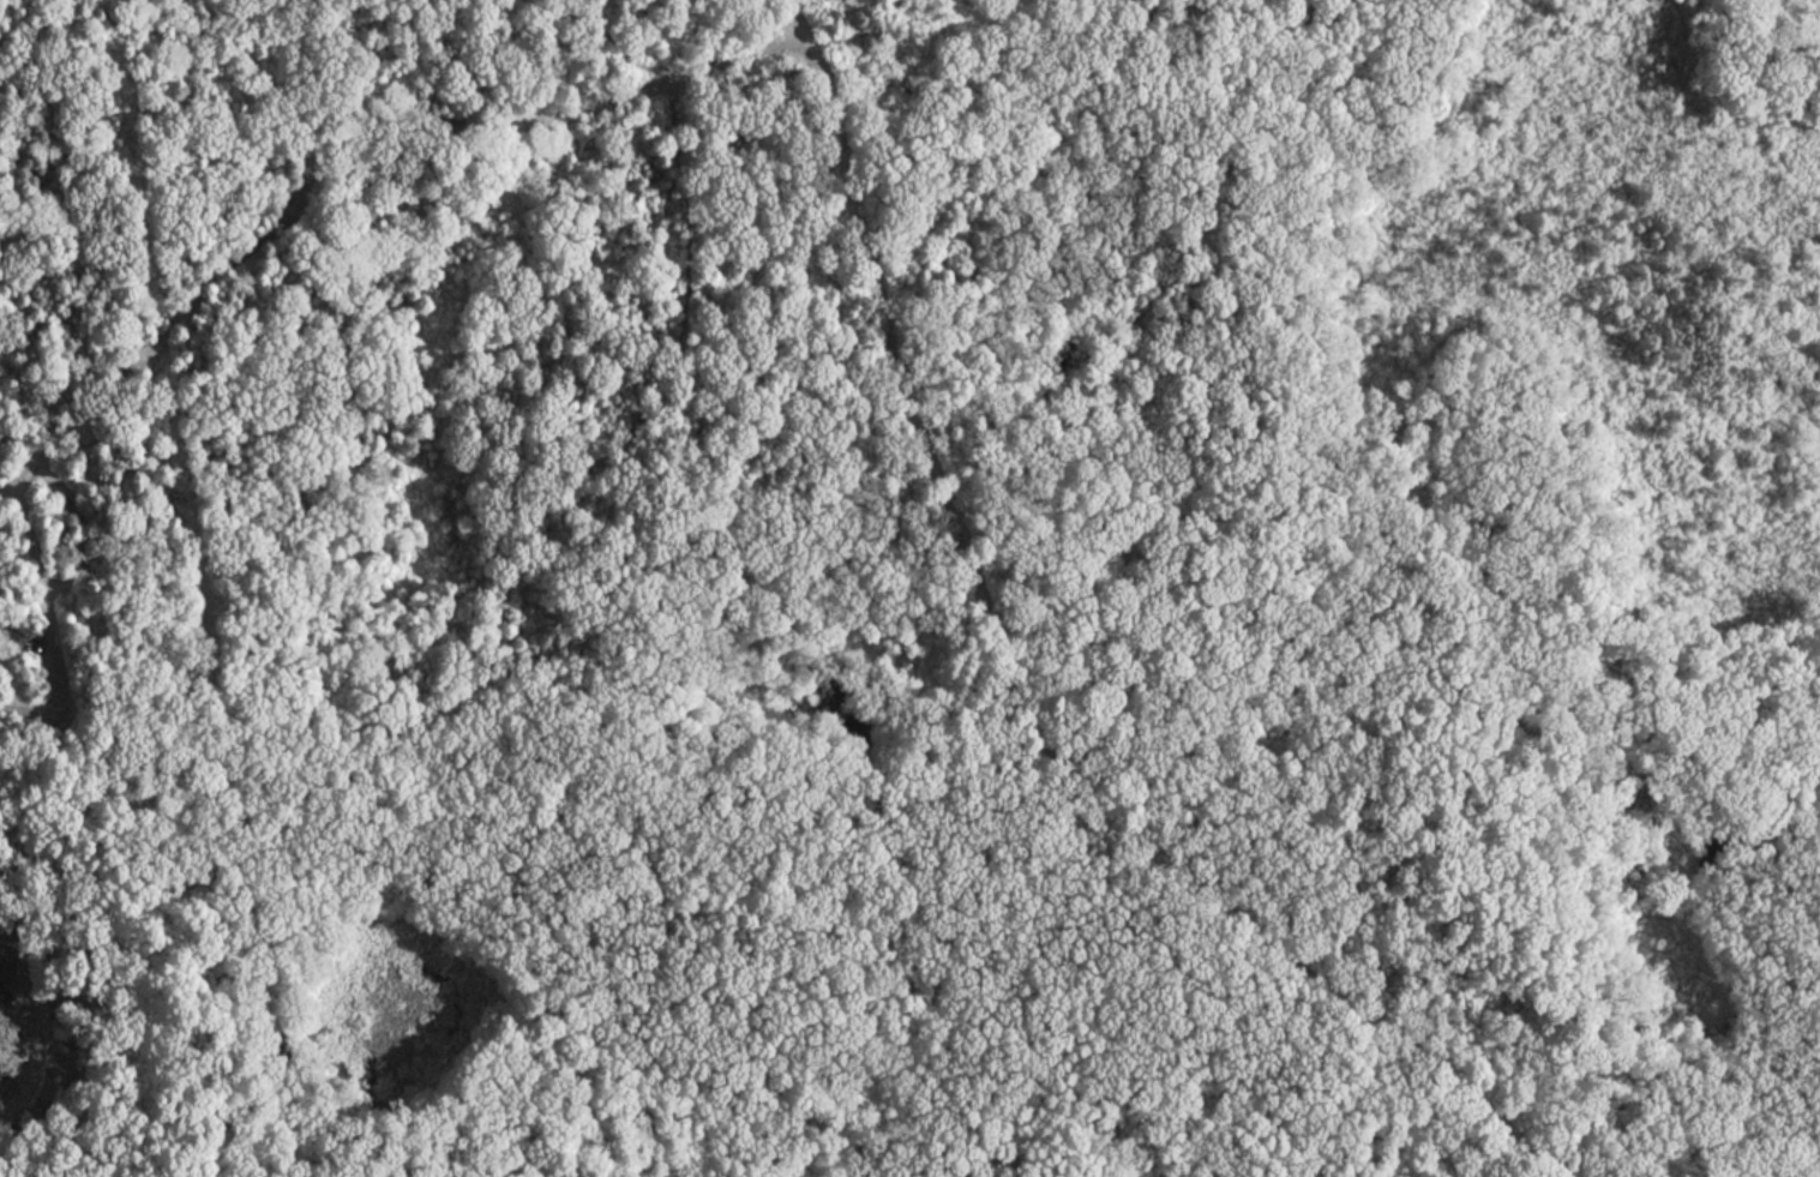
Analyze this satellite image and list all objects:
road: (798, 17)
road: (853, 28)
road: (138, 29)
road: (1272, 90)
road: (336, 124)
road: (1232, 366)
park: (918, 584)
road: (48, 613)
road: (1022, 707)
road: (77, 714)
road: (879, 867)
road: (194, 937)
road: (1443, 1086)
road: (1369, 1134)

